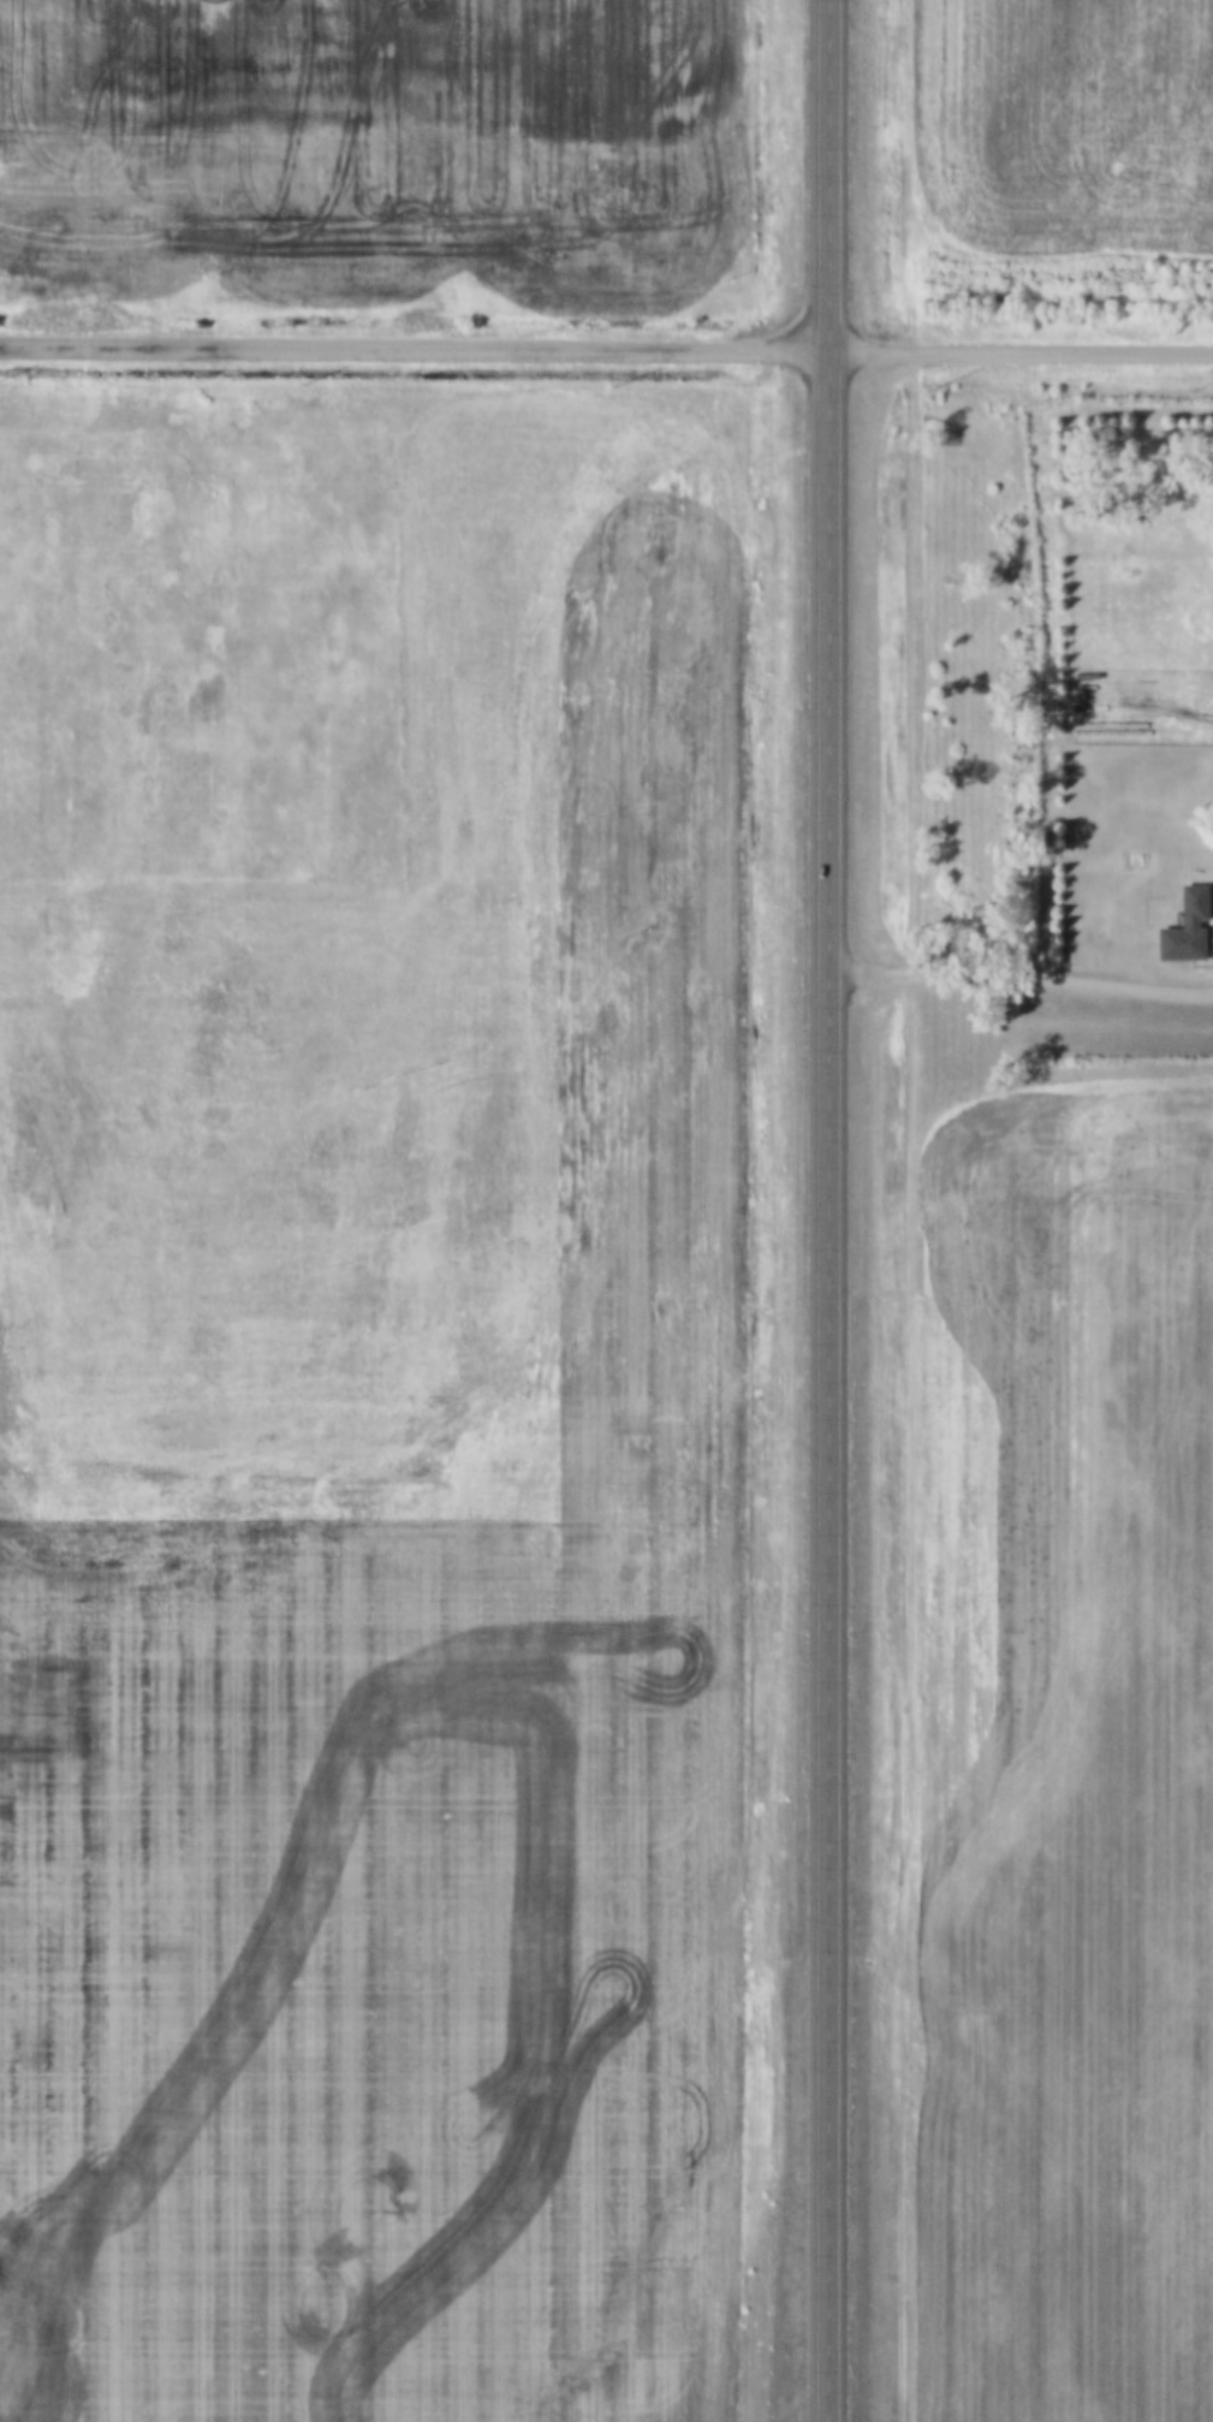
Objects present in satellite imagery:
road: (606, 345)
building: (1191, 930)
road: (1018, 972)
road: (825, 1211)

